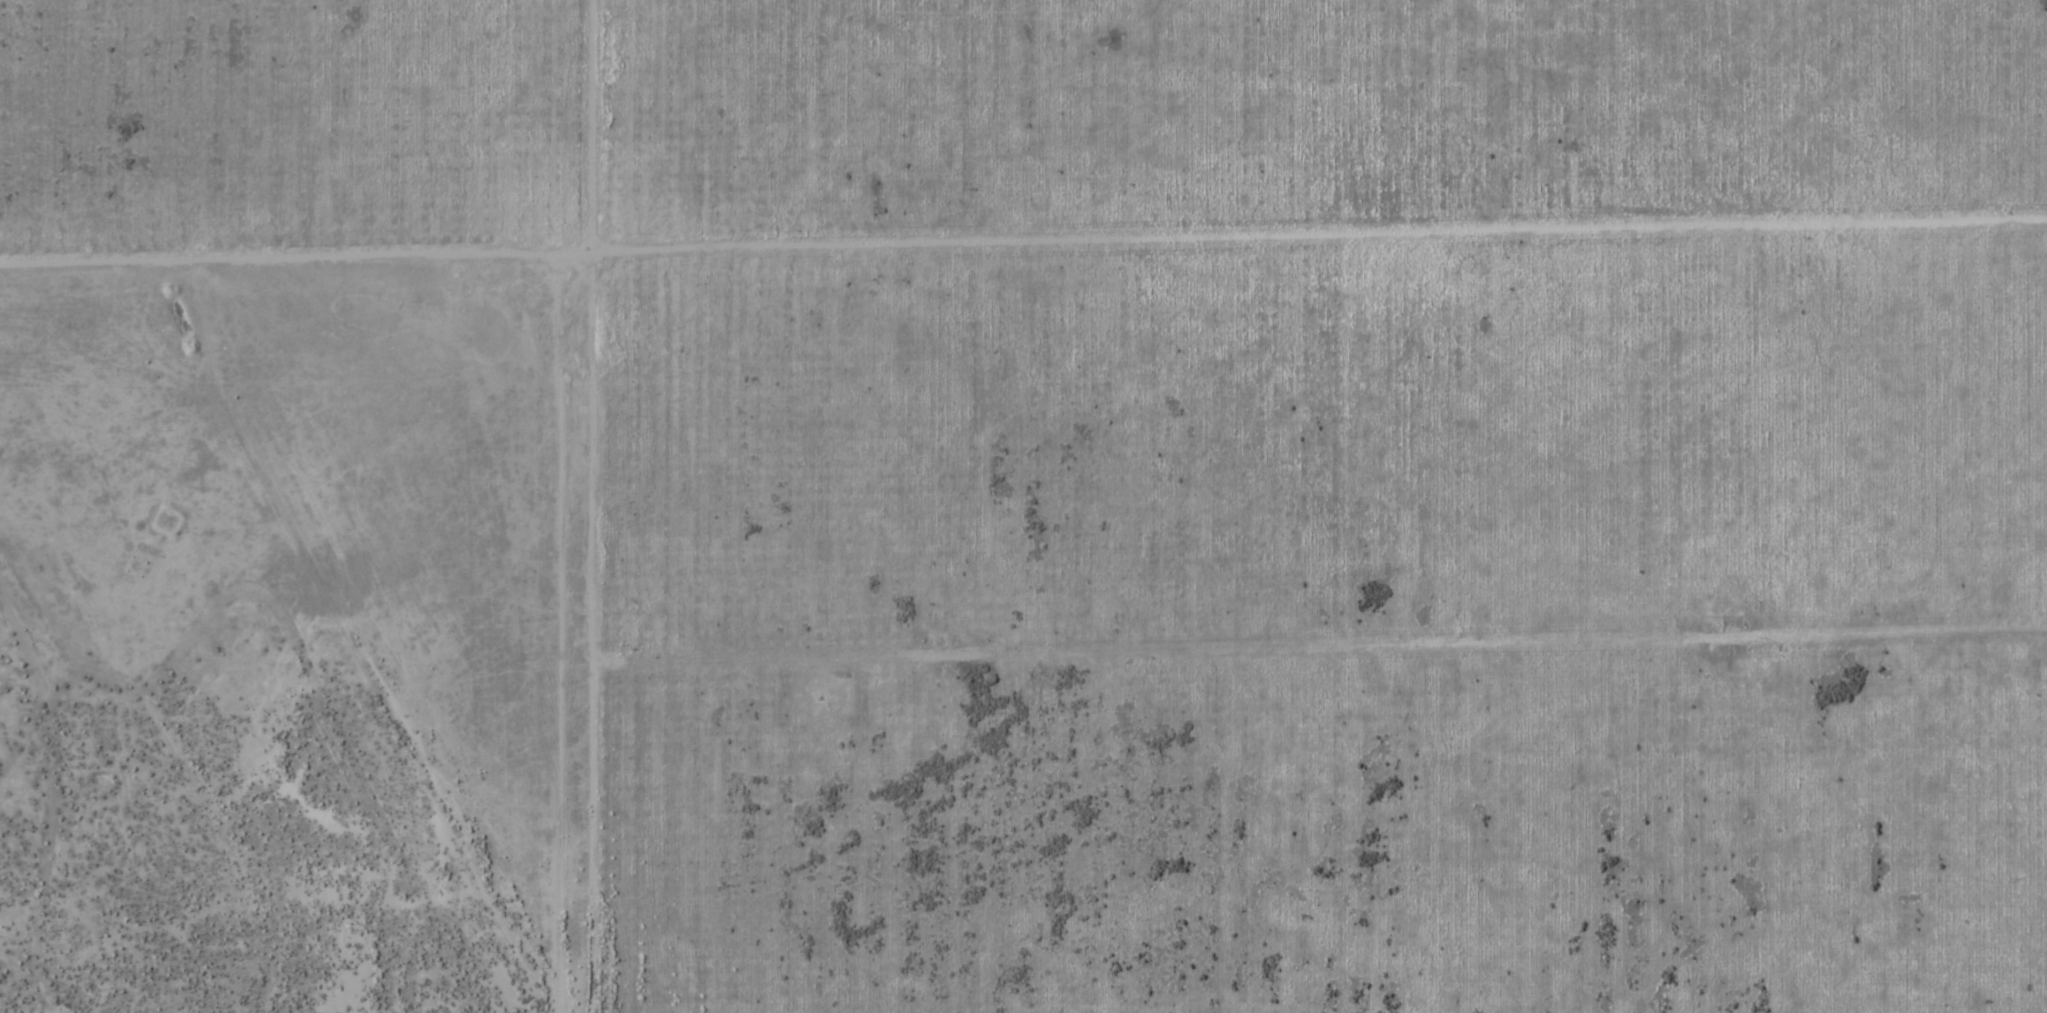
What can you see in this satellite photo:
road: (330, 505)

